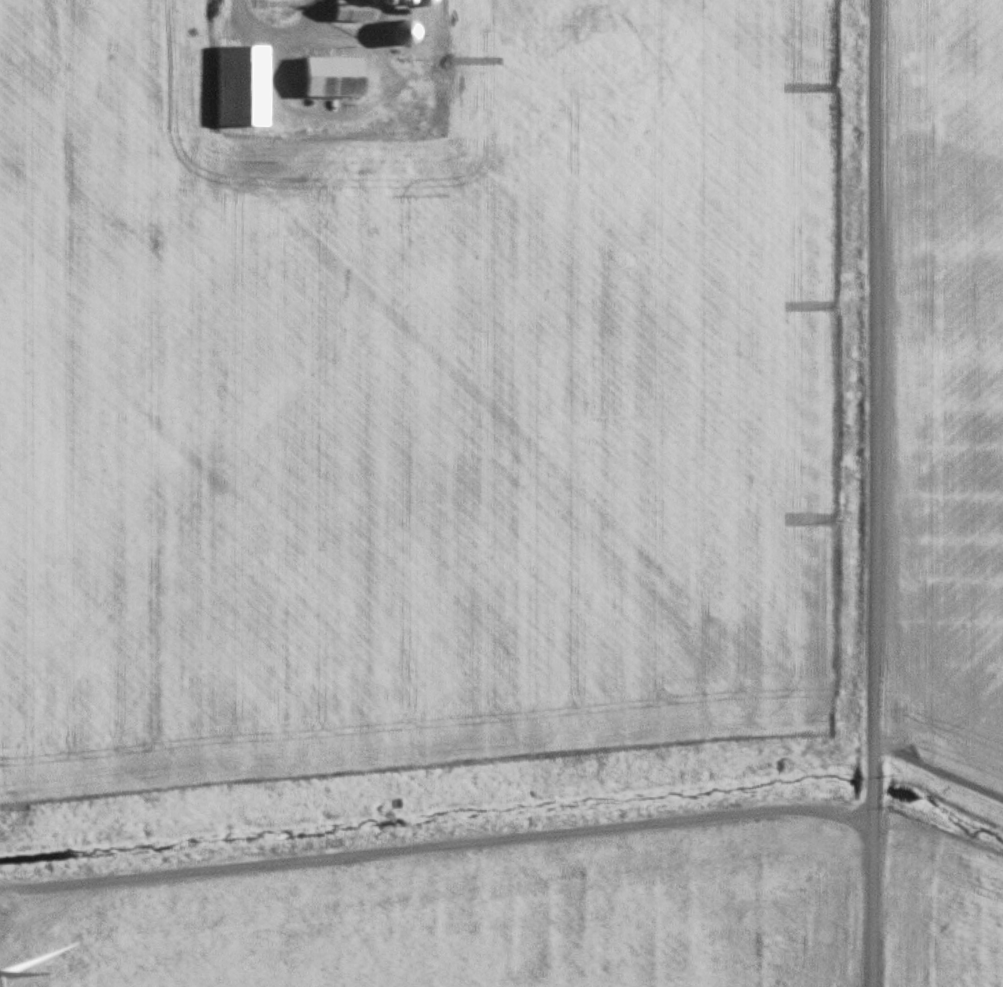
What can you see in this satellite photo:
building: (401, 2)
building: (426, 2)
building: (357, 10)
road: (280, 29)
building: (409, 31)
building: (336, 75)
building: (245, 86)
road: (872, 493)
road: (437, 834)

